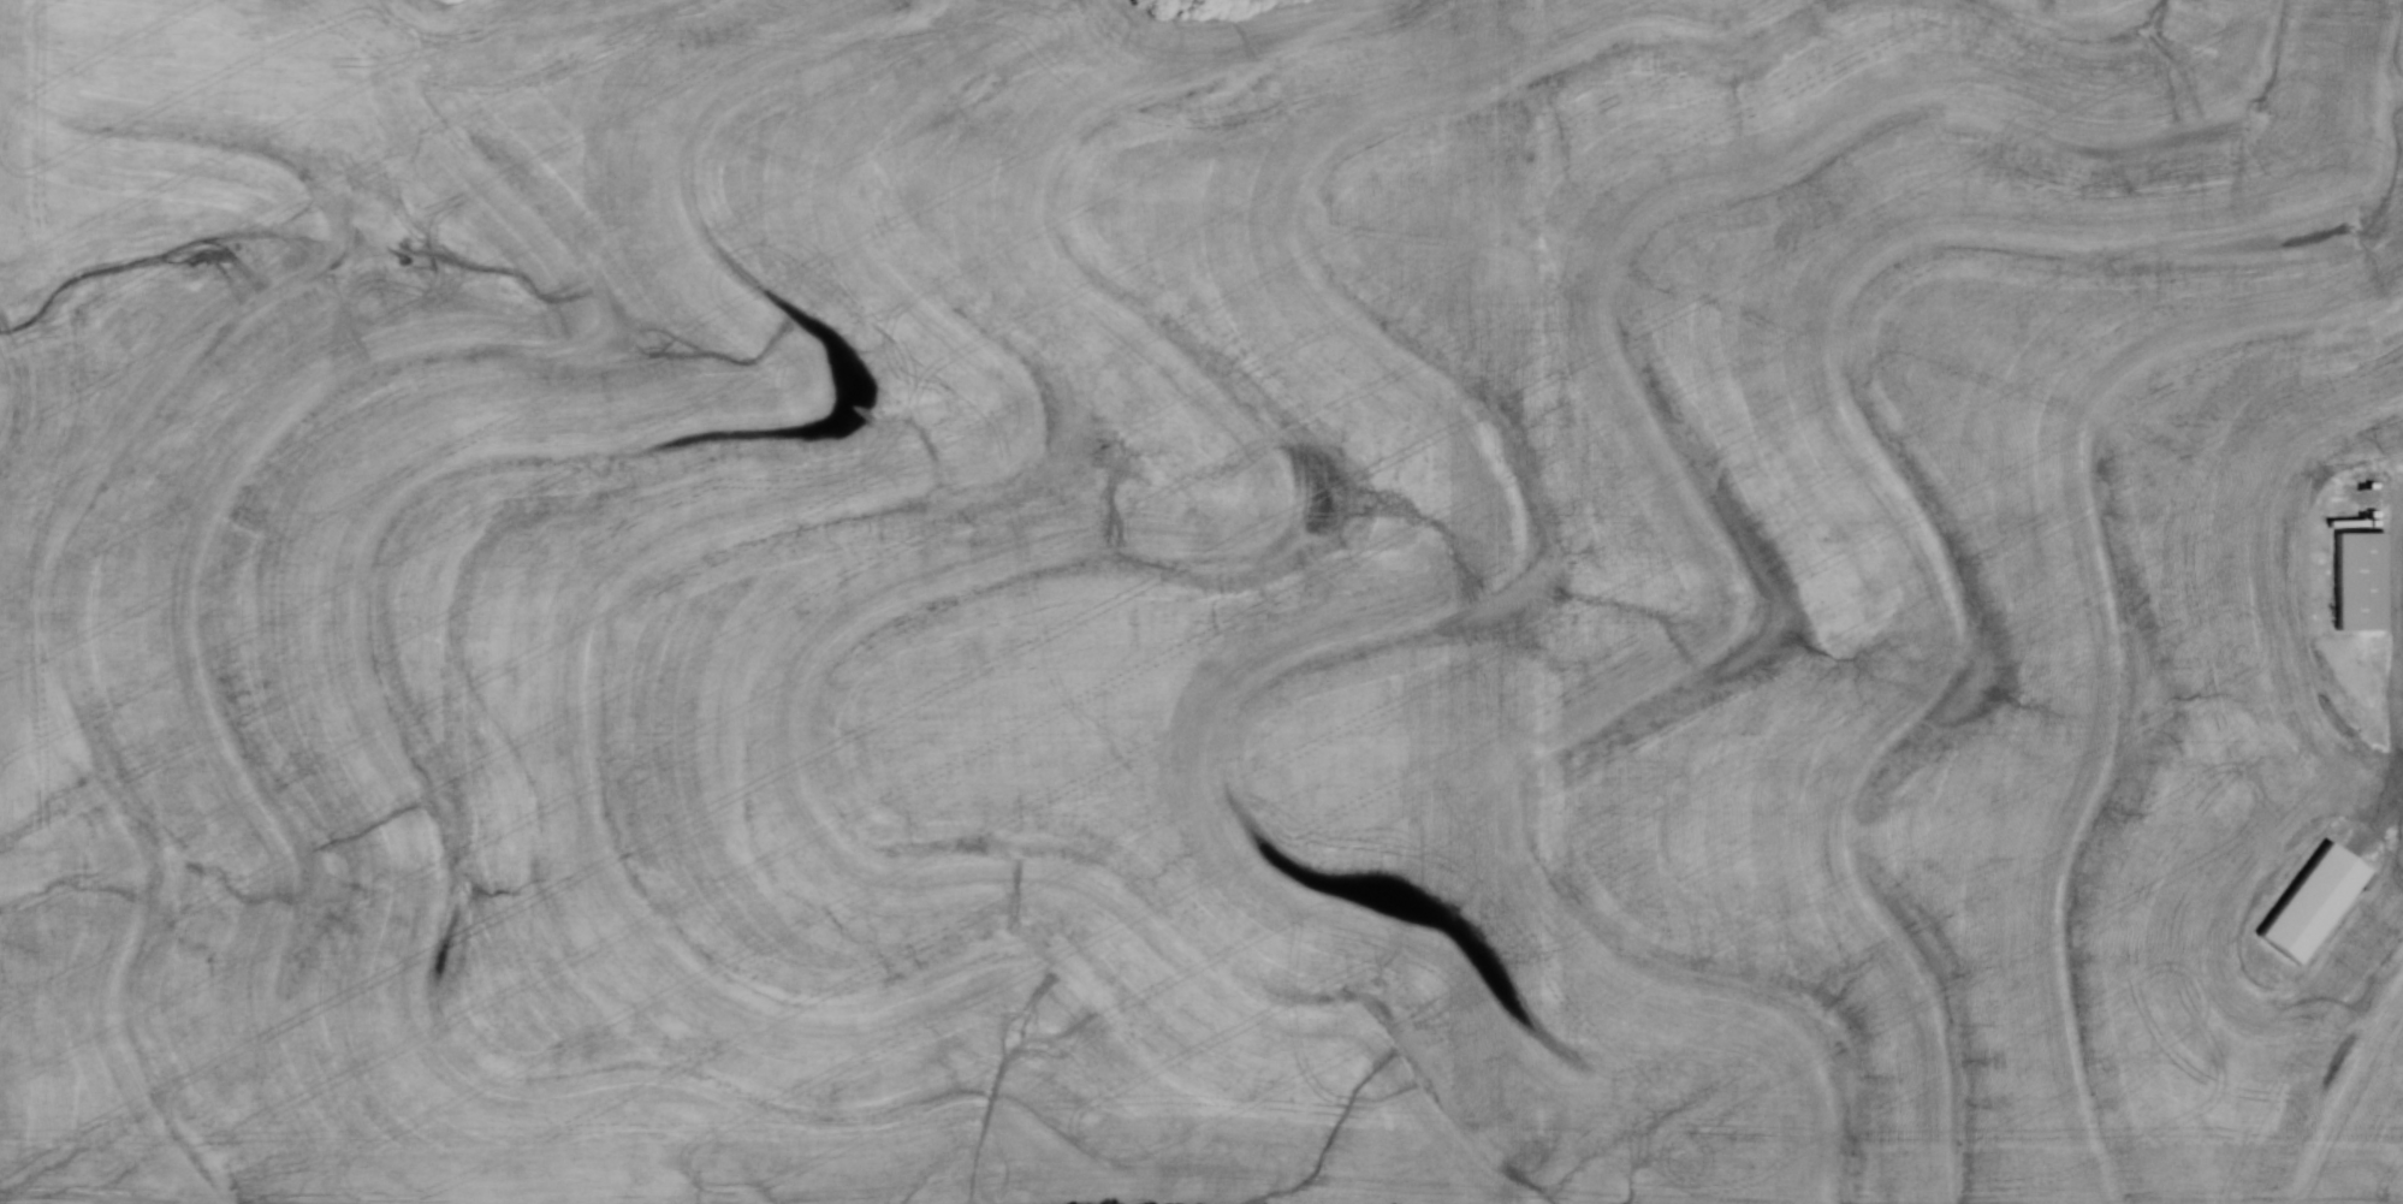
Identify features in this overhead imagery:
building: (2355, 580)
building: (2302, 903)

